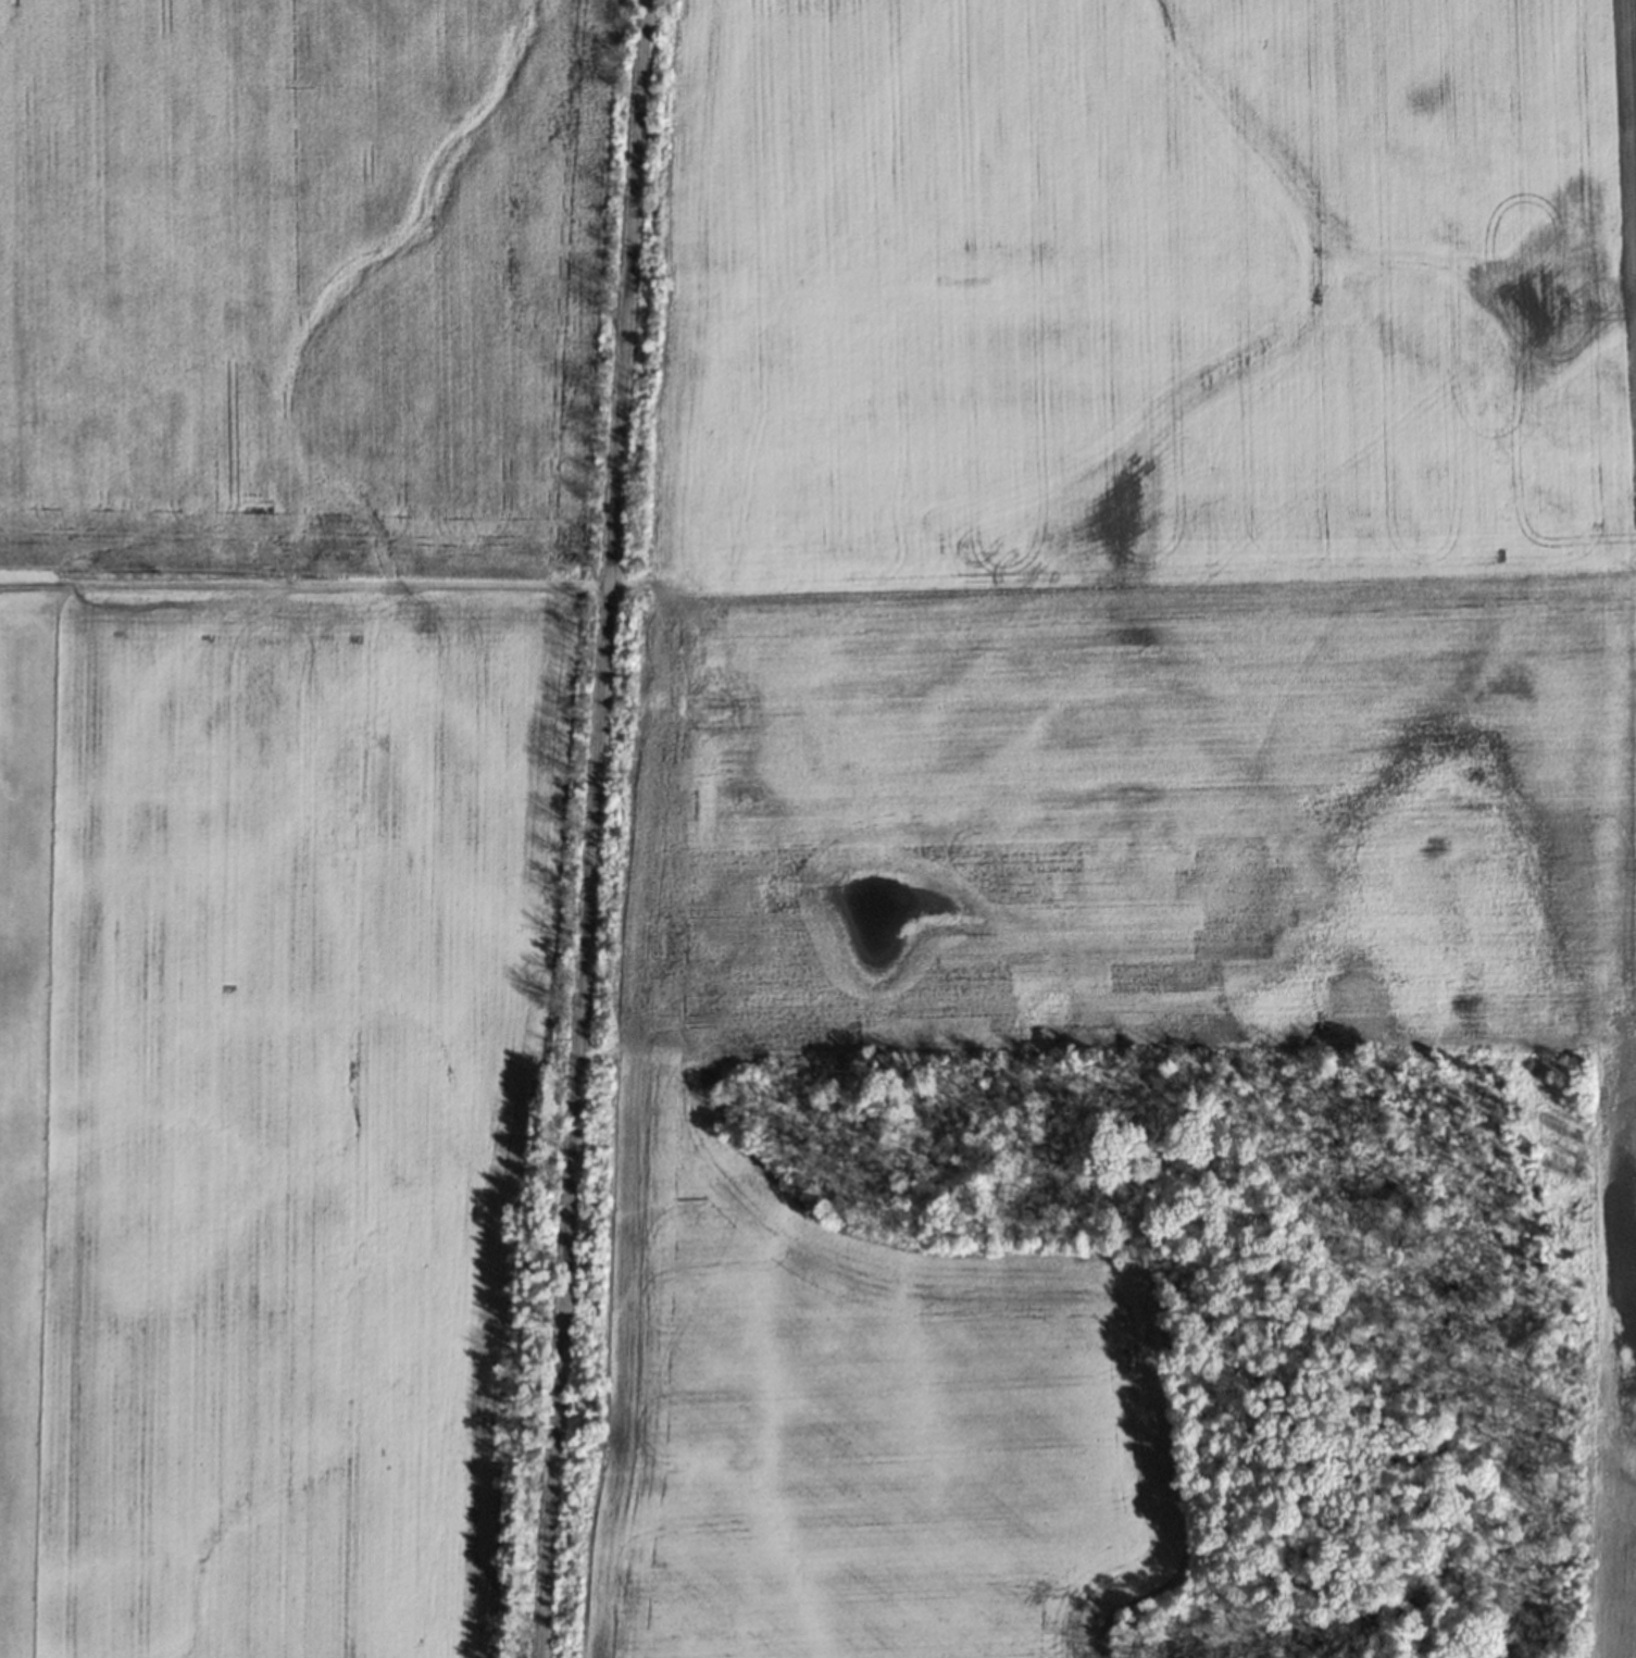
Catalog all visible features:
road: (589, 828)
airport runway: (9, 947)
airport: (23, 1077)

